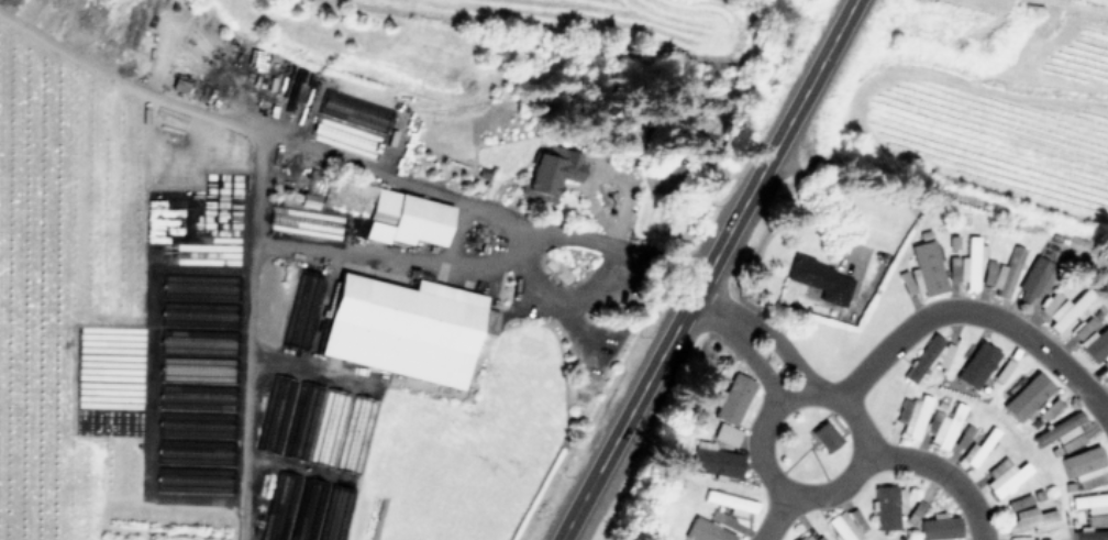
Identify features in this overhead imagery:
road: (126, 82)
building: (178, 86)
building: (322, 129)
building: (546, 176)
road: (254, 192)
building: (405, 213)
building: (965, 266)
crop: (554, 269)
road: (709, 269)
building: (922, 273)
building: (1000, 275)
building: (820, 280)
road: (712, 310)
building: (1063, 311)
road: (976, 313)
building: (400, 330)
building: (1090, 340)
road: (780, 345)
building: (927, 357)
building: (972, 361)
road: (755, 363)
building: (1105, 364)
building: (1106, 381)
building: (1006, 382)
road: (811, 394)
building: (729, 409)
building: (1049, 410)
building: (911, 418)
building: (289, 419)
building: (944, 428)
building: (344, 433)
building: (1061, 434)
building: (823, 438)
building: (963, 438)
building: (979, 448)
building: (712, 463)
building: (1083, 469)
road: (941, 474)
building: (1004, 478)
building: (728, 504)
building: (1019, 505)
building: (280, 507)
building: (1093, 509)
building: (884, 510)
building: (915, 510)
building: (312, 511)
building: (335, 514)
road: (778, 517)
building: (1031, 522)
building: (844, 527)
building: (938, 529)
building: (703, 532)
building: (1089, 536)
building: (800, 539)
building: (813, 539)

